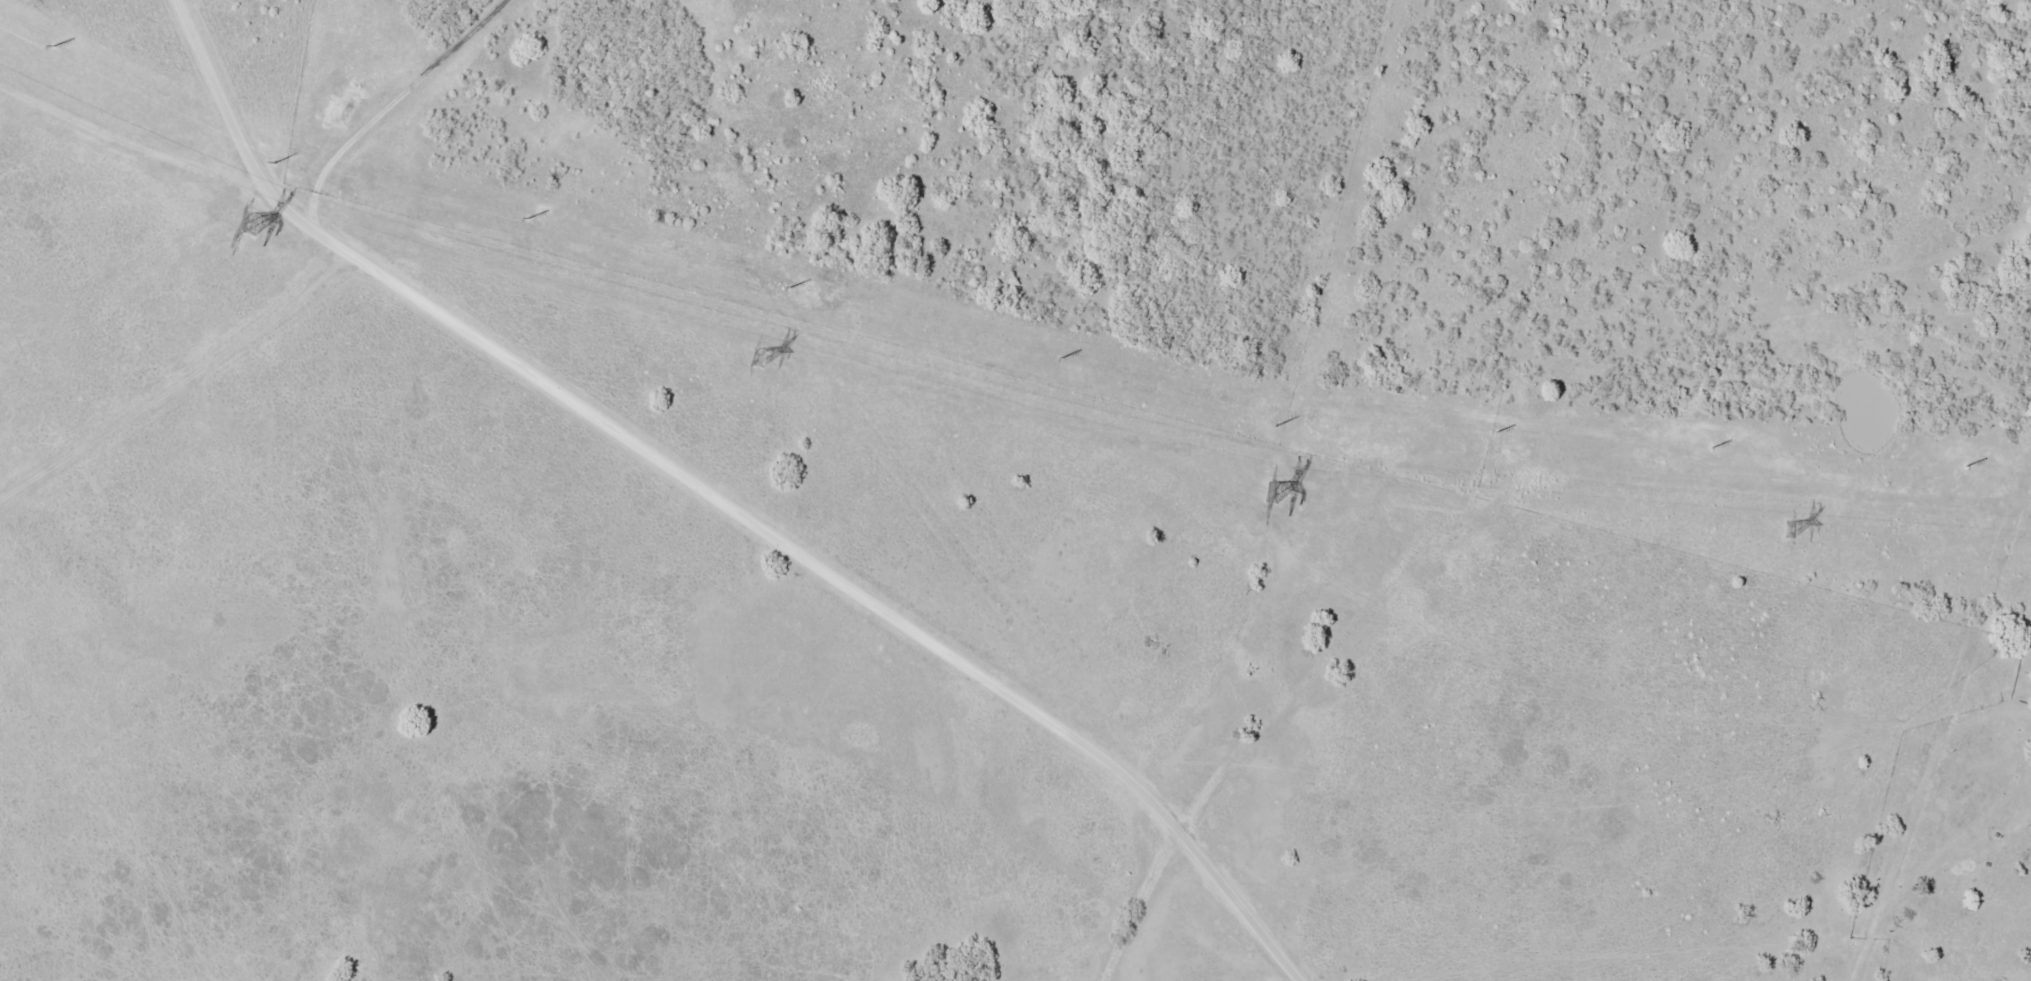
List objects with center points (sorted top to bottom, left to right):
power tower: (255, 223)
power tower: (762, 356)
power tower: (1274, 492)
road: (729, 499)
power tower: (1790, 529)

